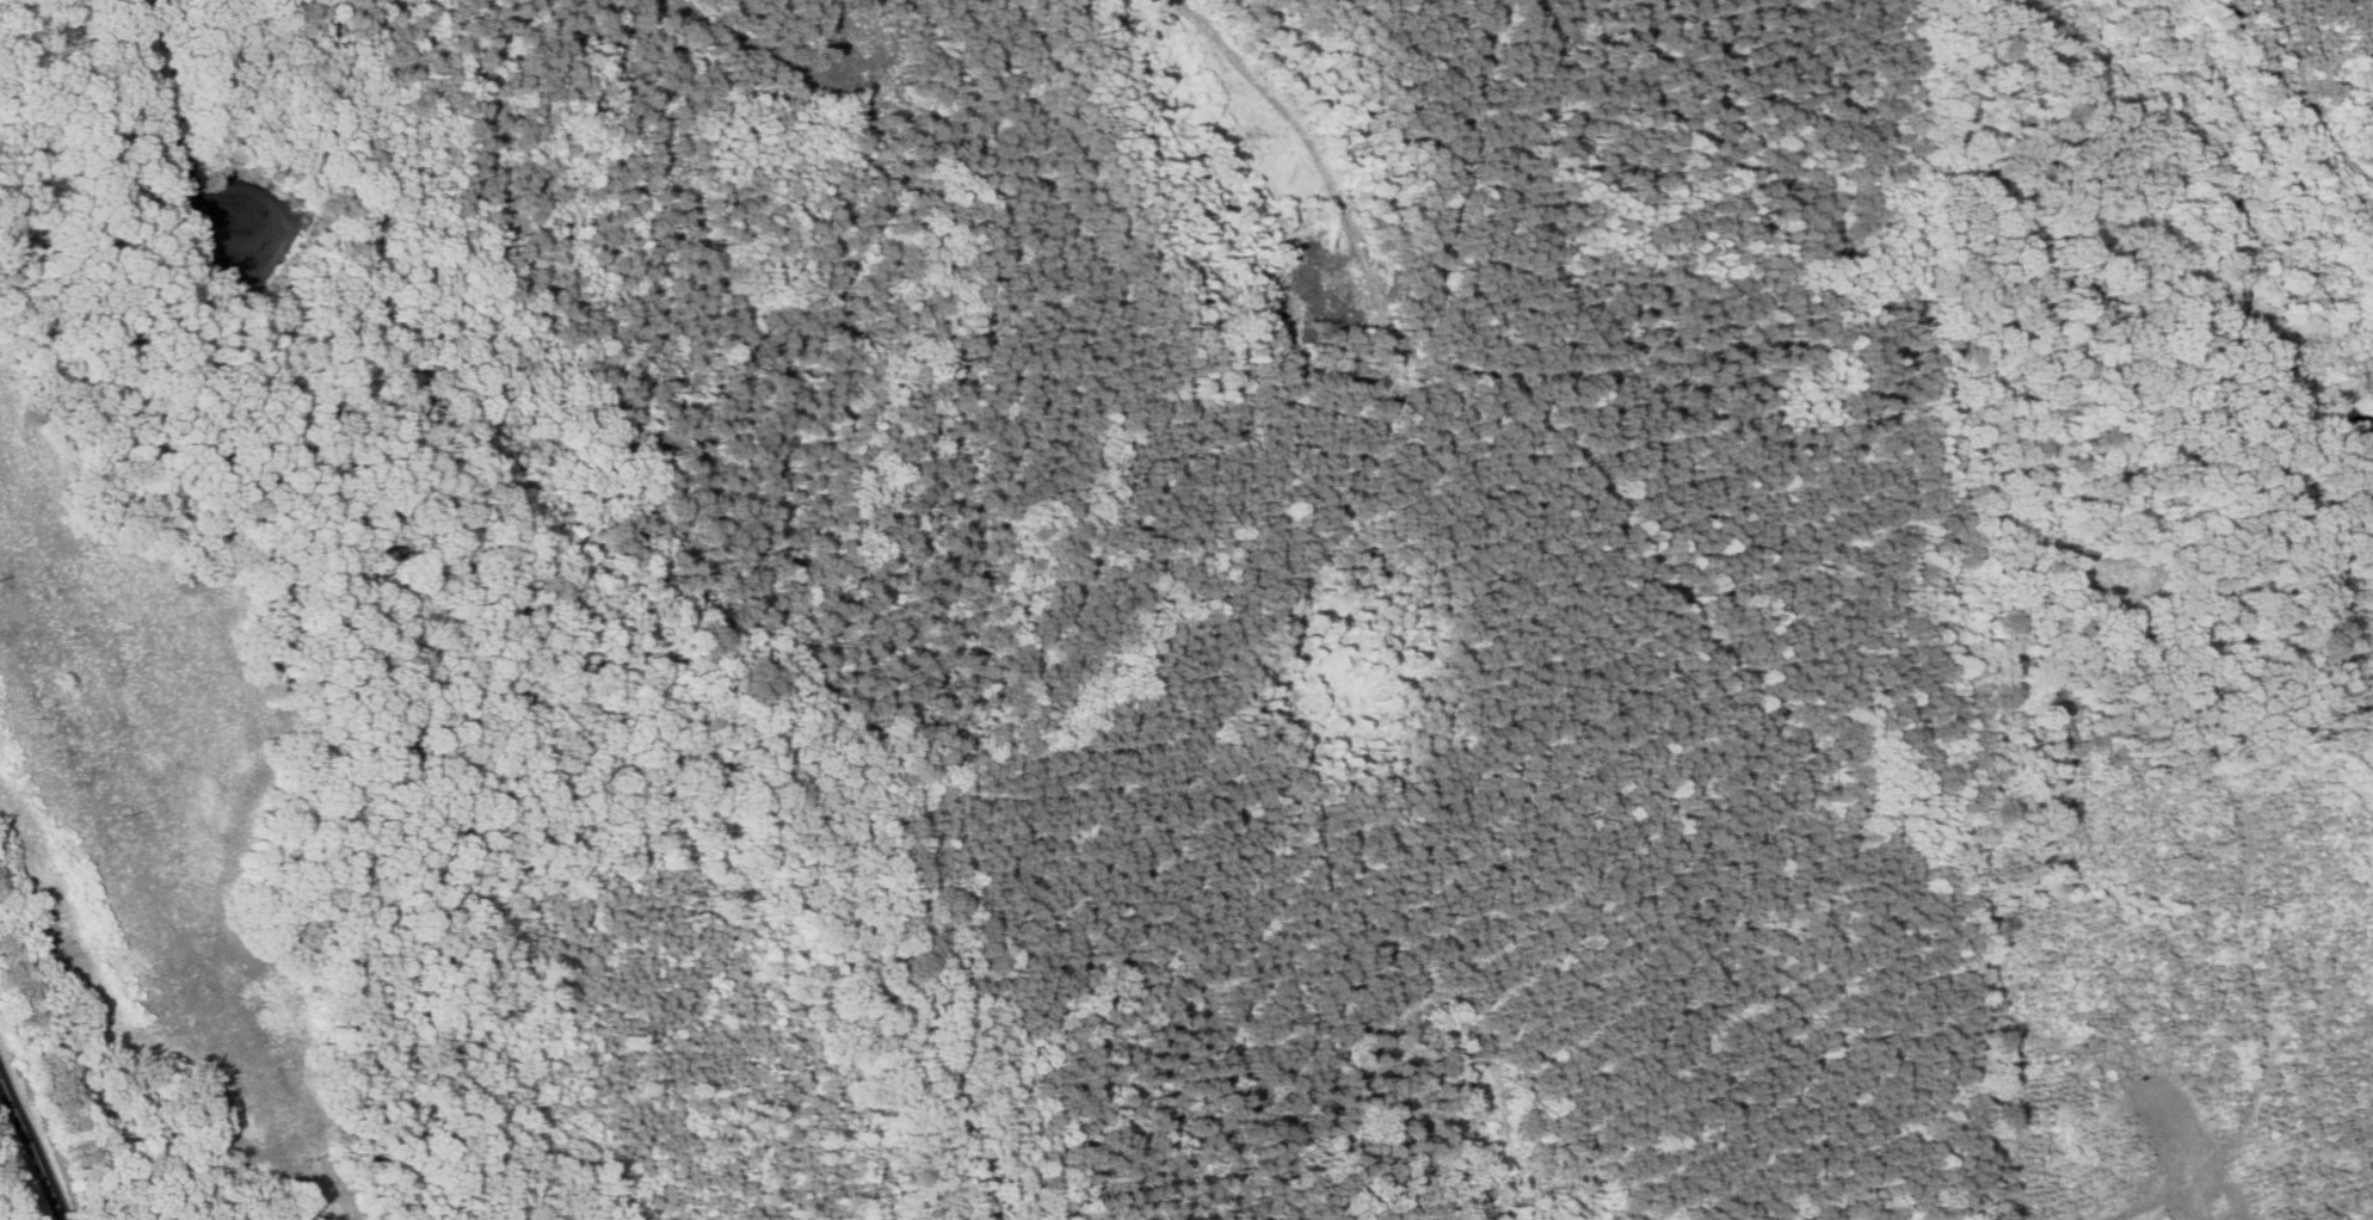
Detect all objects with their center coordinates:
river: (2249, 191)
road: (32, 1147)

